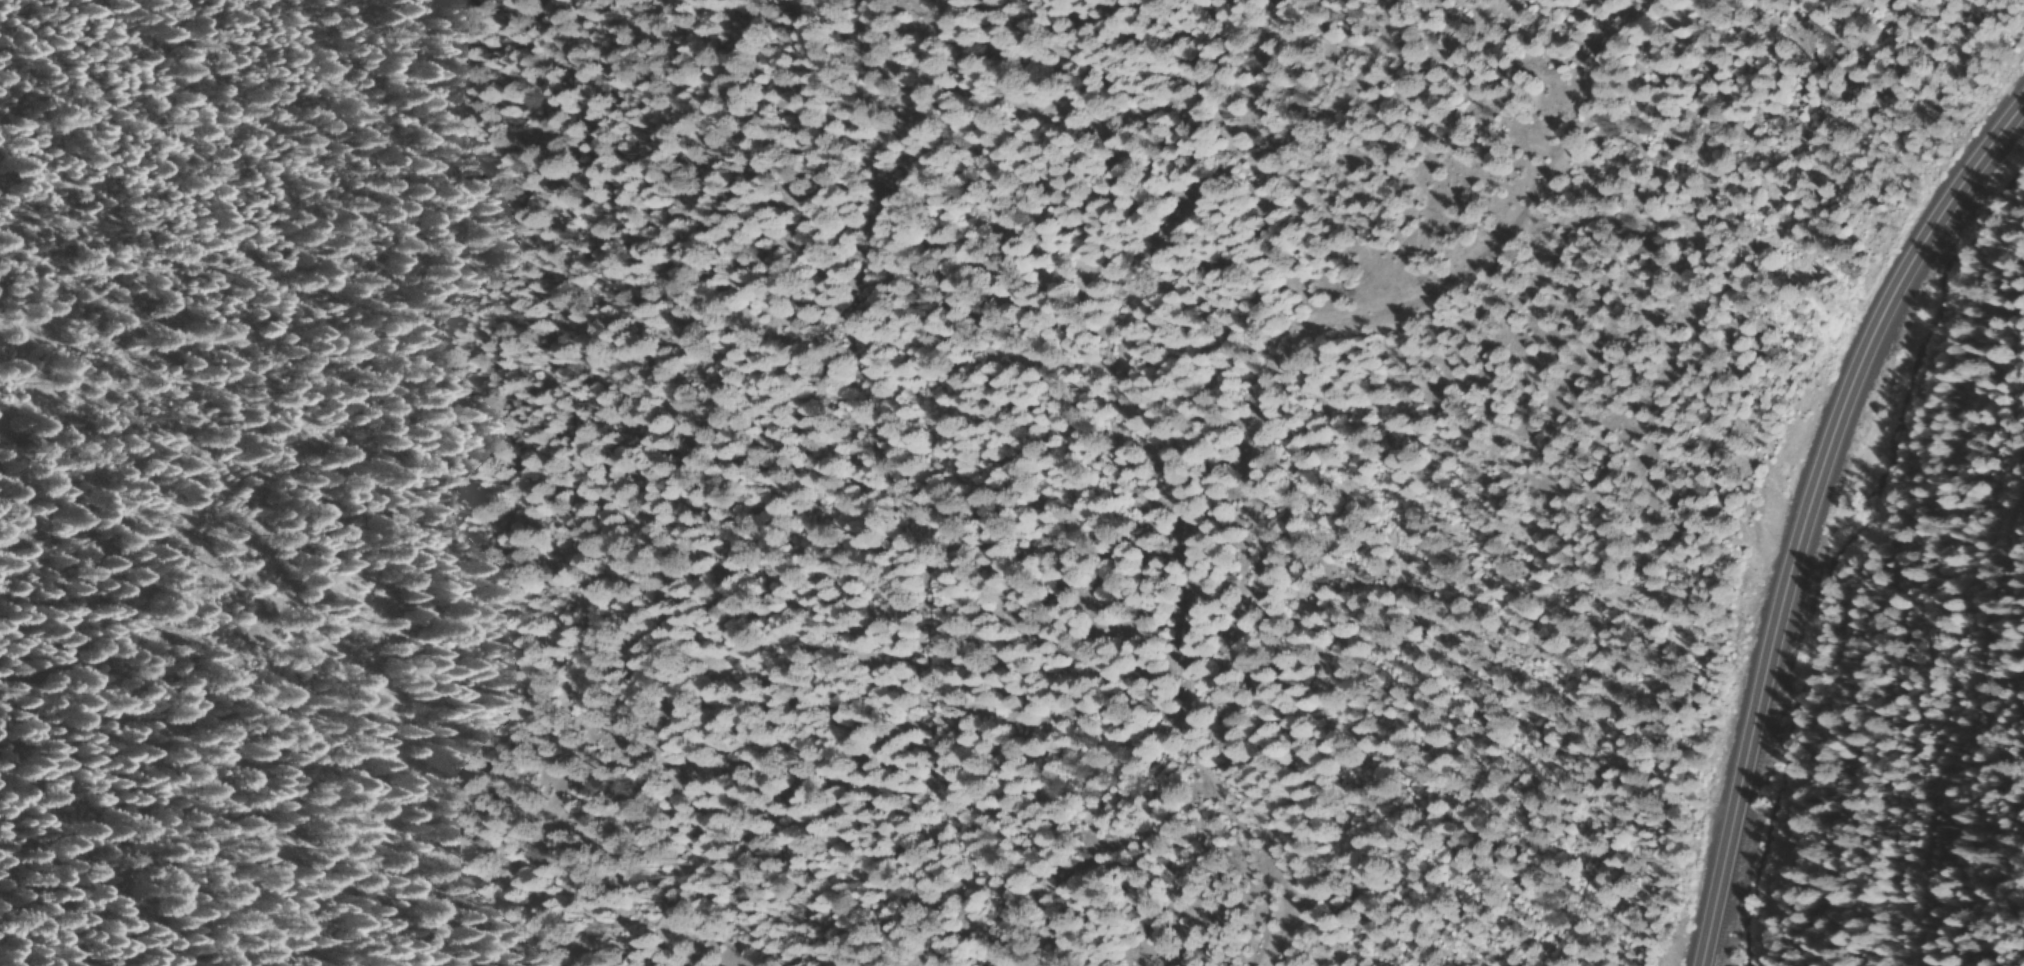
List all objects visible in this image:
road: (1237, 429)
road: (1830, 519)
road: (1952, 788)

